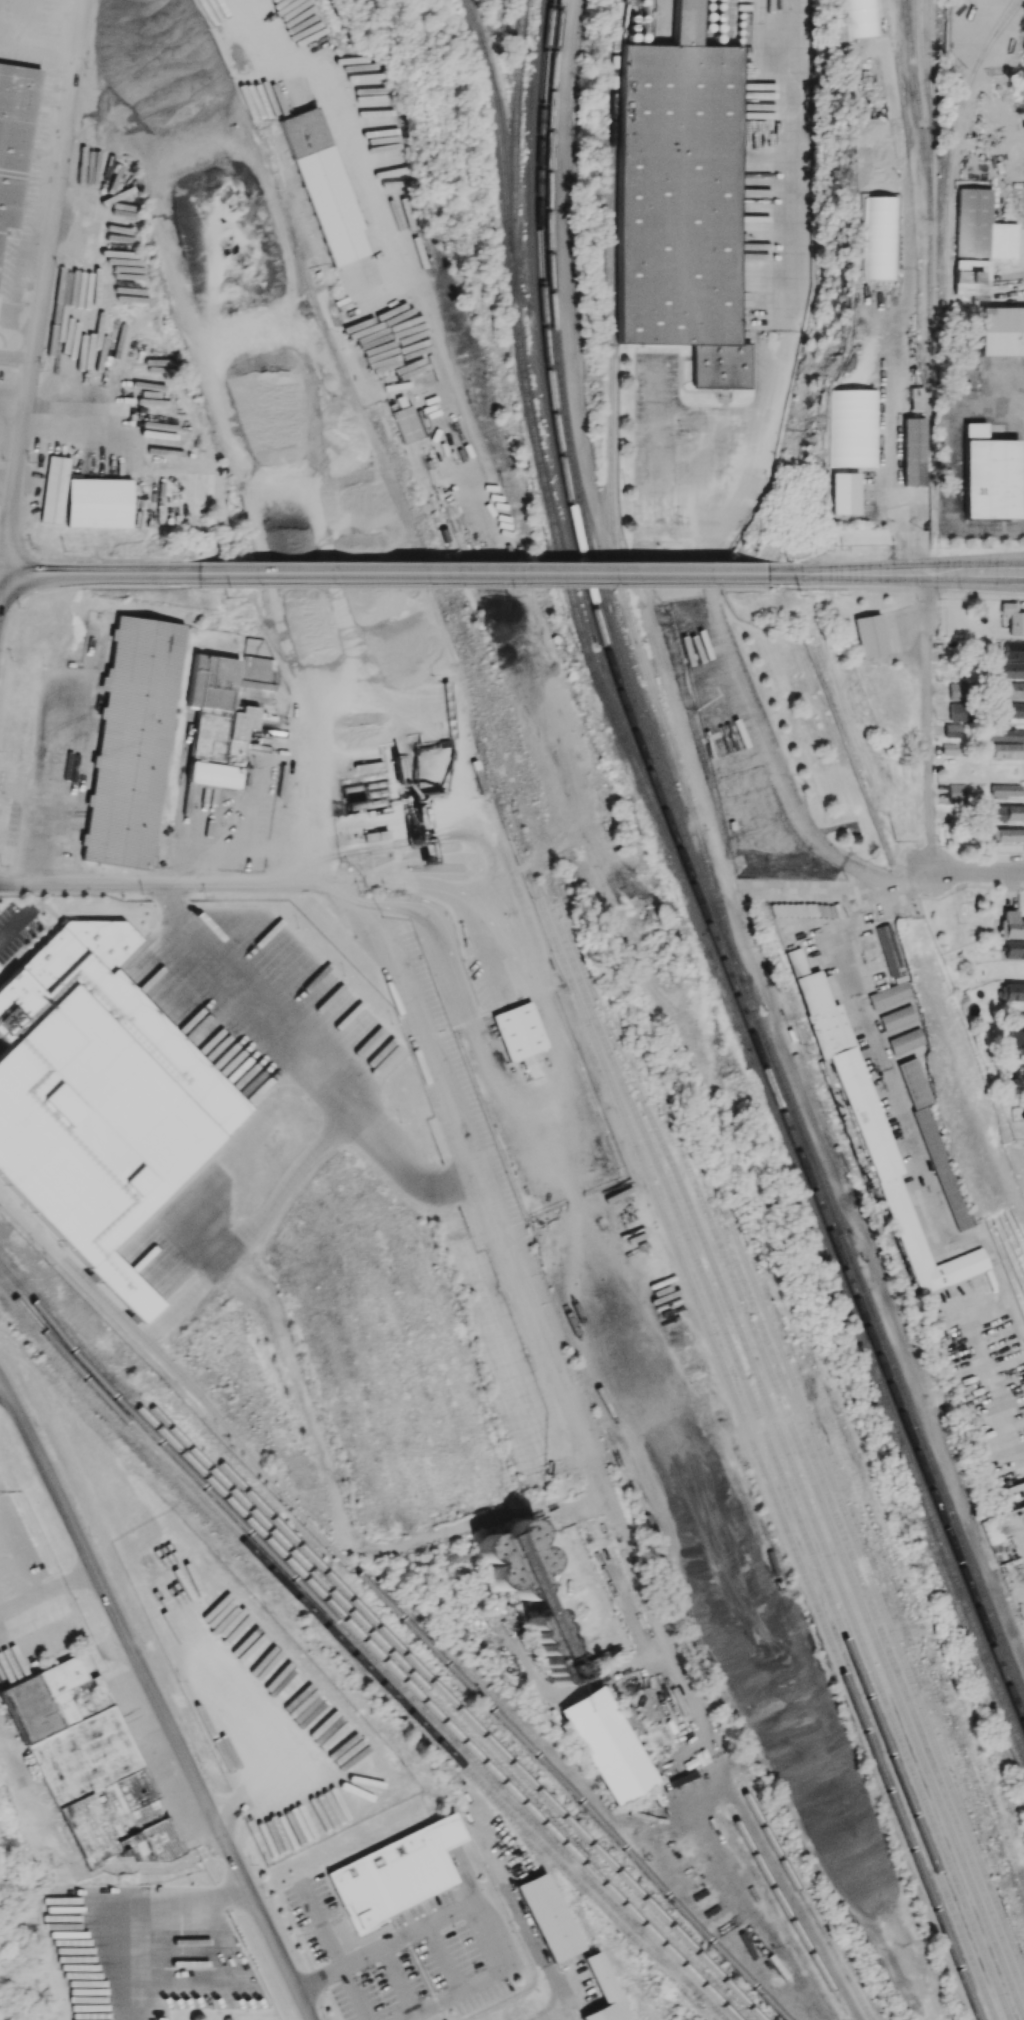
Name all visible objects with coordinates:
railway: (991, 38)
road: (19, 41)
railway: (915, 48)
railway: (932, 63)
railway: (920, 107)
building: (15, 138)
railway: (502, 138)
railway: (518, 140)
railway: (953, 148)
railway: (286, 160)
building: (323, 185)
road: (377, 209)
building: (981, 227)
railway: (930, 240)
railway: (297, 253)
building: (972, 278)
road: (42, 293)
building: (1002, 330)
road: (14, 384)
building: (406, 423)
building: (852, 427)
road: (887, 443)
building: (914, 451)
road: (960, 466)
building: (989, 474)
building: (54, 489)
railway: (611, 497)
building: (98, 502)
road: (724, 511)
railway: (414, 548)
road: (974, 572)
road: (99, 573)
road: (479, 573)
road: (835, 573)
road: (917, 573)
road: (481, 583)
road: (895, 587)
road: (63, 588)
railway: (570, 592)
power tower: (506, 598)
building: (1013, 618)
railway: (609, 620)
building: (870, 635)
building: (1014, 650)
building: (1011, 669)
railway: (479, 687)
building: (1014, 689)
building: (959, 691)
building: (1013, 710)
building: (958, 711)
building: (225, 713)
road: (679, 720)
road: (926, 722)
building: (952, 730)
building: (1002, 733)
building: (134, 742)
building: (950, 748)
building: (1007, 750)
road: (314, 775)
building: (1007, 789)
building: (1007, 812)
building: (1008, 834)
road: (228, 851)
road: (976, 871)
railway: (692, 883)
road: (176, 884)
road: (459, 887)
road: (796, 891)
road: (16, 924)
building: (1011, 924)
parking lot: (15, 928)
road: (438, 932)
building: (1014, 949)
building: (889, 950)
building: (796, 960)
building: (1013, 991)
building: (890, 994)
building: (898, 1017)
building: (519, 1031)
building: (791, 1033)
building: (907, 1040)
building: (1017, 1040)
parking lot: (0, 1044)
road: (306, 1048)
road: (537, 1095)
building: (99, 1096)
road: (906, 1120)
railway: (795, 1131)
building: (878, 1141)
building: (935, 1142)
road: (281, 1188)
road: (476, 1204)
railway: (738, 1220)
railway: (563, 1364)
railway: (724, 1370)
railway: (772, 1451)
railway: (927, 1452)
railway: (788, 1458)
railway: (927, 1531)
railway: (837, 1542)
railway: (853, 1555)
railway: (951, 1564)
road: (53, 1585)
building: (530, 1592)
railway: (877, 1594)
railway: (333, 1619)
railway: (413, 1621)
railway: (425, 1640)
railway: (934, 1647)
railway: (925, 1651)
railway: (357, 1655)
railway: (357, 1664)
railway: (957, 1682)
railway: (445, 1693)
road: (158, 1697)
railway: (436, 1697)
railway: (425, 1699)
railway: (941, 1713)
building: (608, 1745)
building: (90, 1765)
railway: (968, 1805)
building: (395, 1873)
railway: (805, 1898)
railway: (791, 1911)
railway: (778, 1915)
building: (549, 1917)
road: (157, 1924)
road: (301, 1946)
road: (389, 1947)
road: (335, 1951)
parking lot: (410, 1955)
road: (414, 1955)
road: (444, 1959)
road: (485, 1977)
road: (398, 1982)
building: (604, 1992)
road: (561, 2012)

